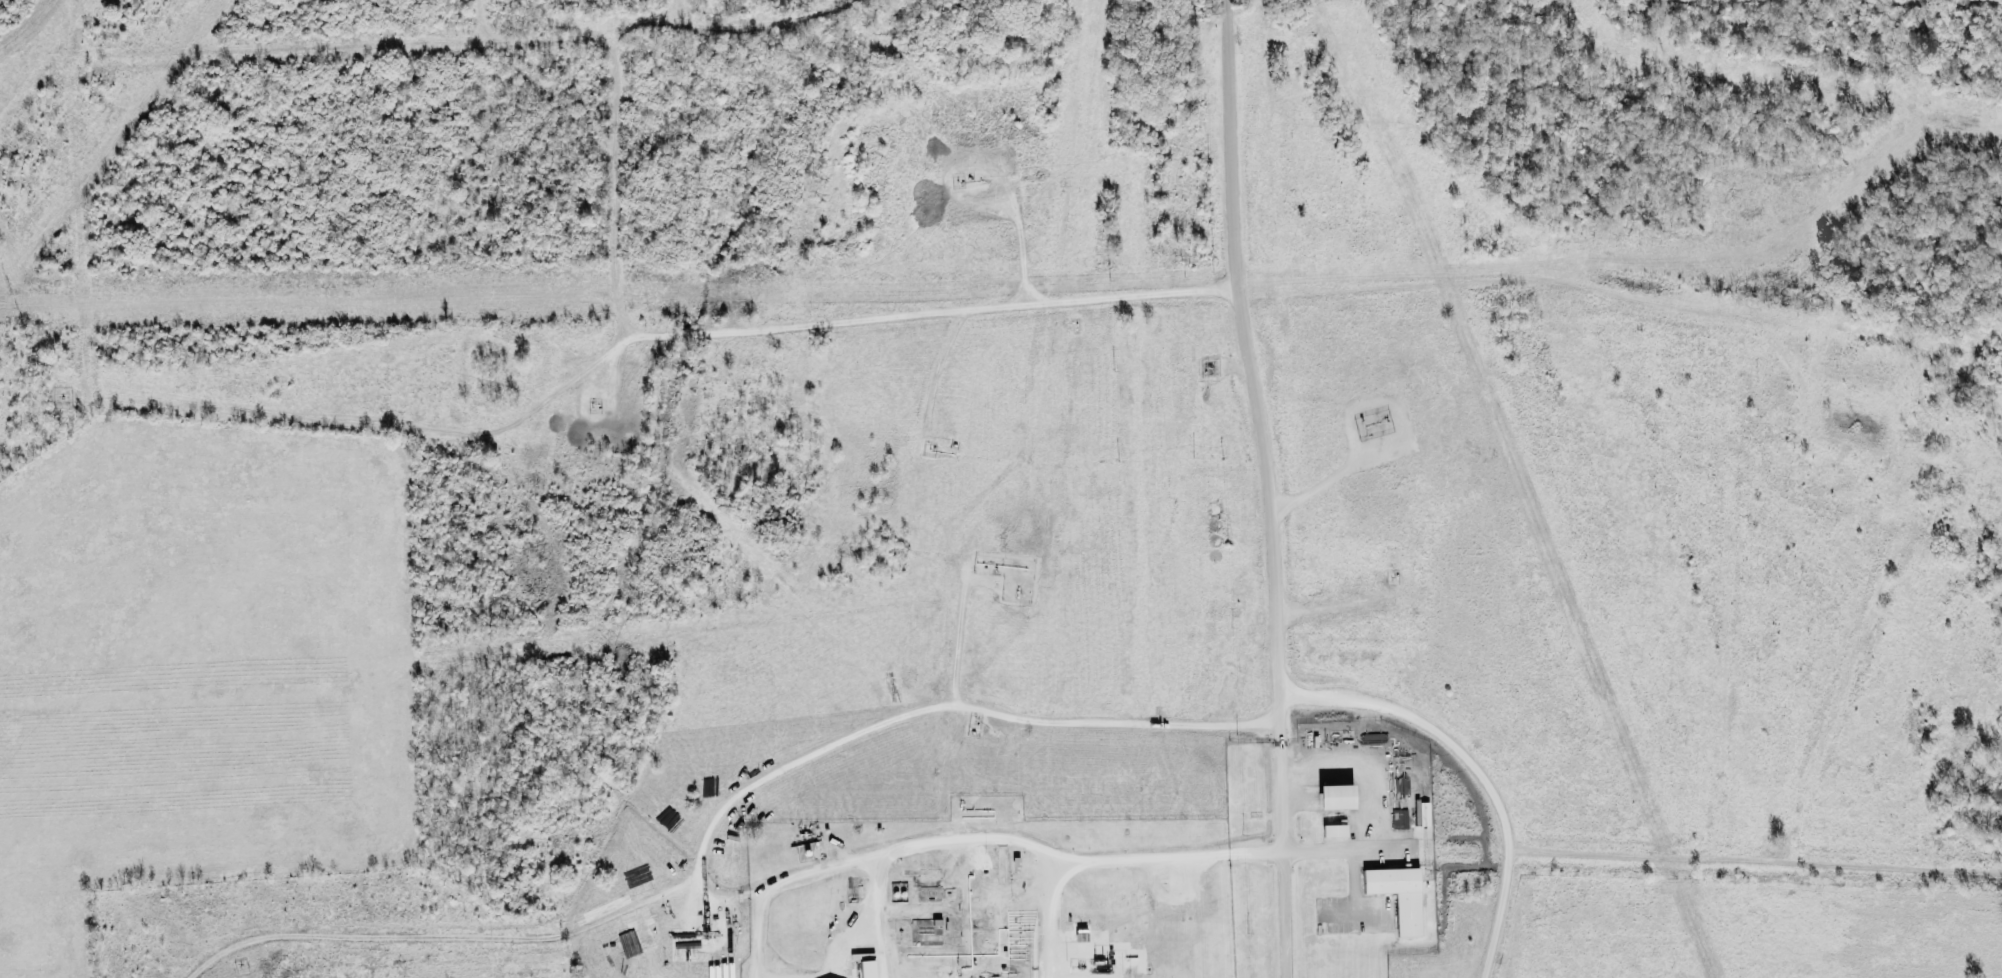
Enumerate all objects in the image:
road: (621, 186)
road: (204, 398)
road: (1268, 488)
road: (1365, 764)
road: (1477, 770)
building: (1336, 796)
road: (713, 812)
building: (1422, 812)
building: (1335, 830)
road: (978, 837)
road: (1345, 849)
road: (1354, 881)
building: (1399, 895)
road: (1355, 914)
road: (1049, 916)
road: (867, 925)
building: (866, 969)
road: (768, 977)

